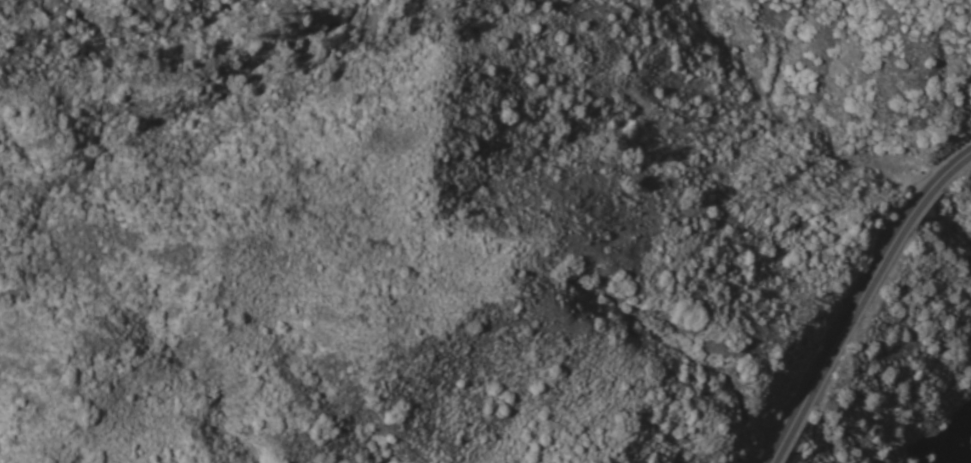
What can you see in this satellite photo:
road: (868, 305)

